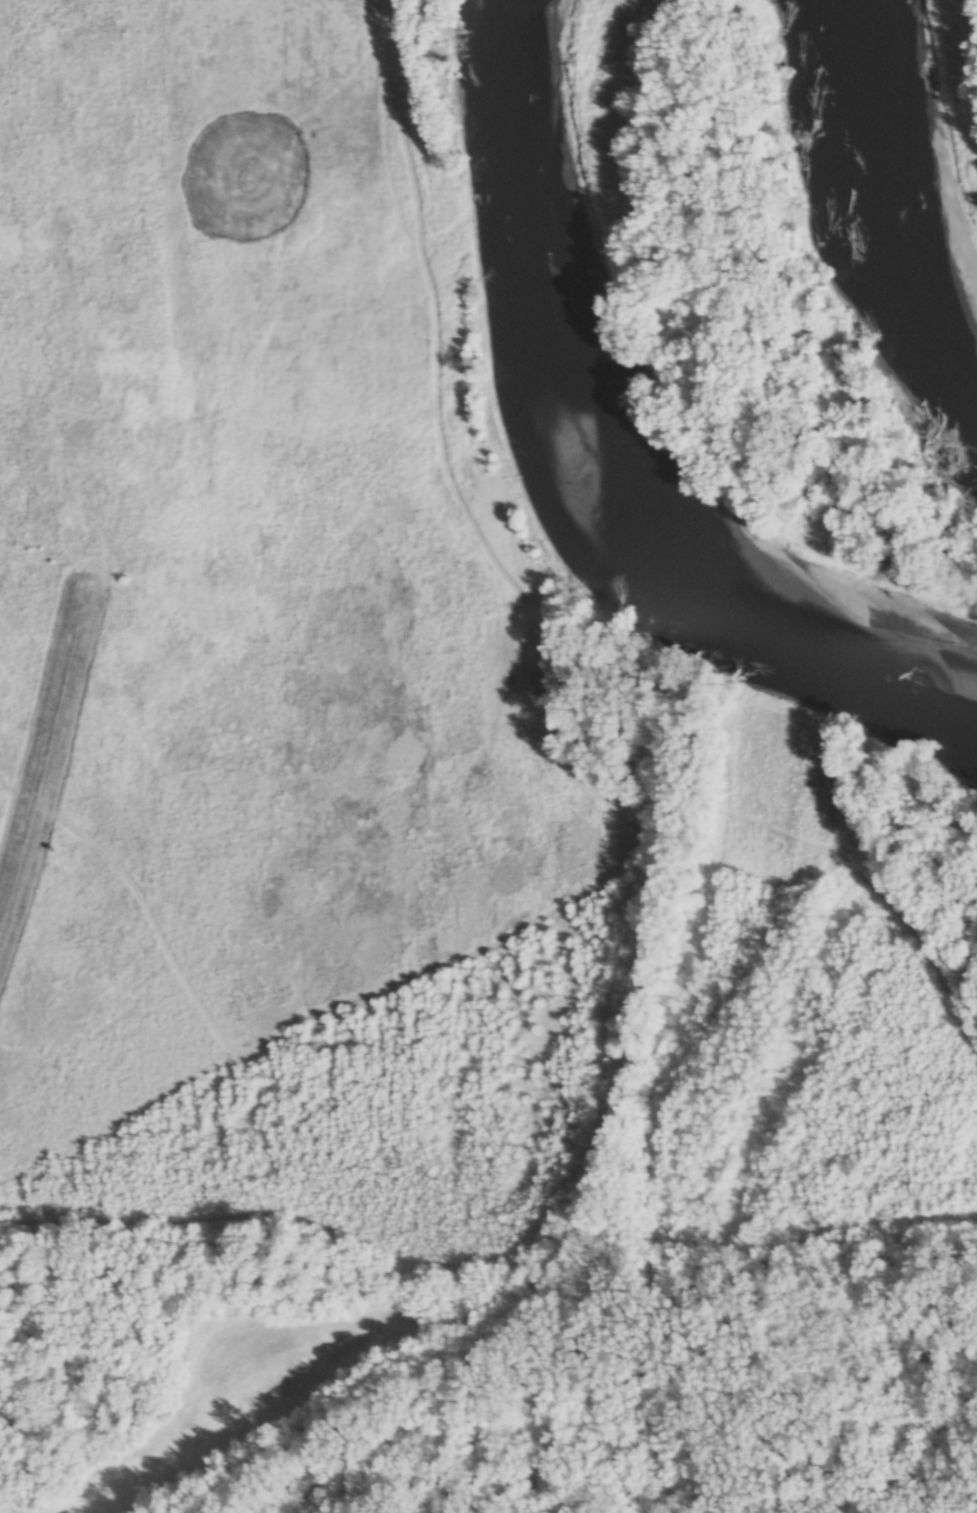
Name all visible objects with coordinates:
river: (893, 186)
river: (591, 449)

